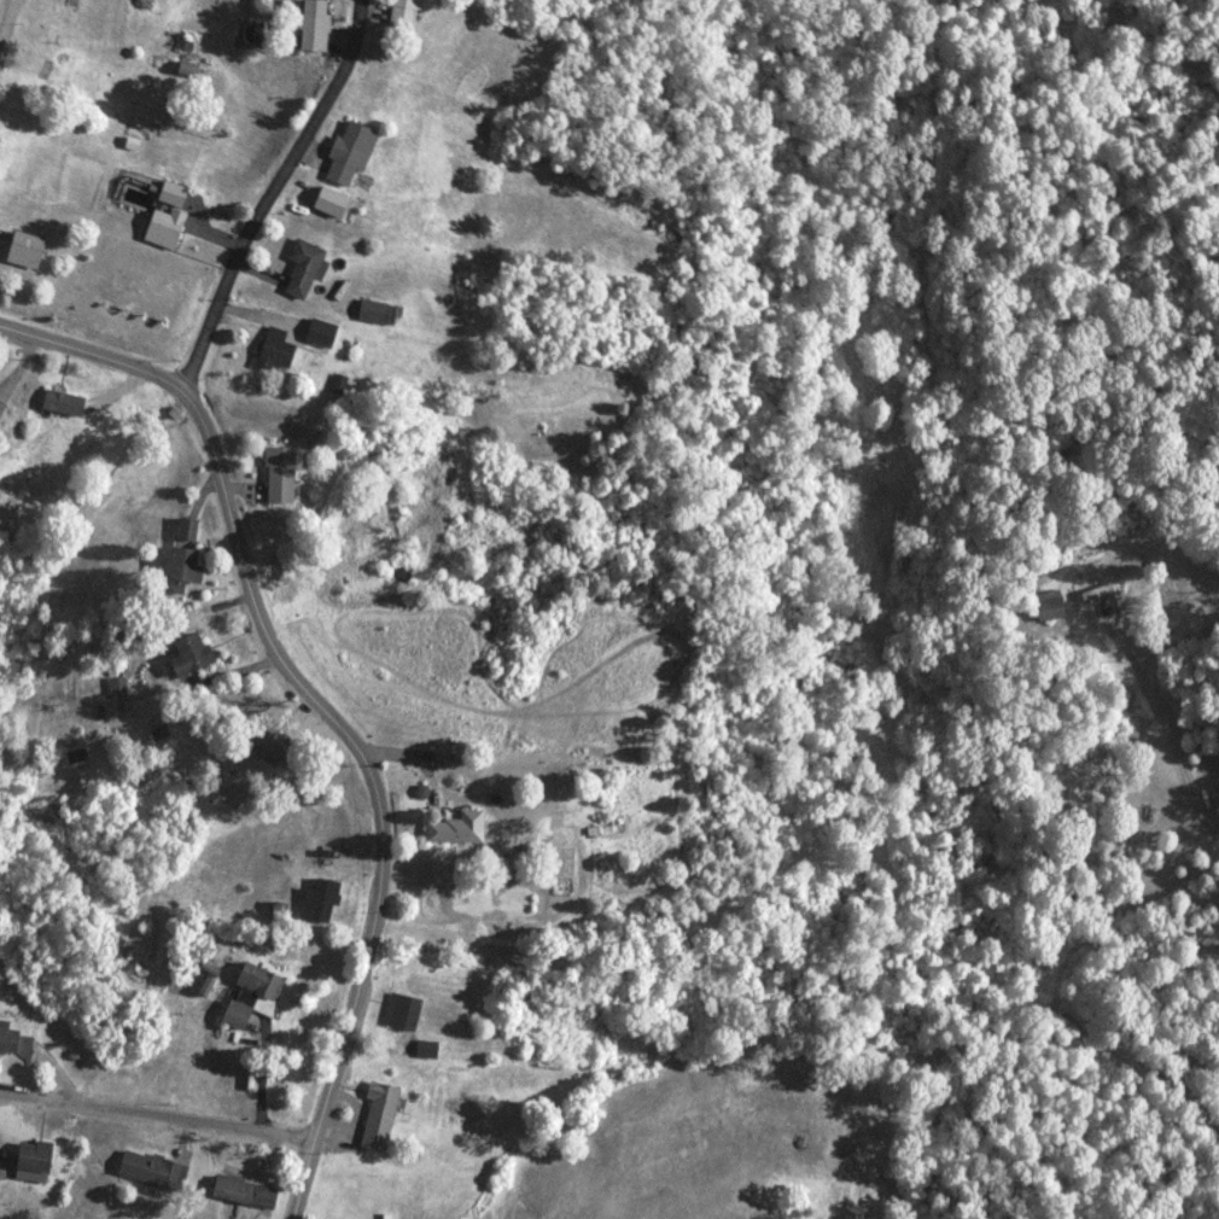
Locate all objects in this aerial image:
road: (5, 13)
building: (406, 14)
building: (315, 27)
building: (53, 71)
building: (351, 152)
building: (168, 215)
building: (28, 249)
building: (305, 267)
building: (379, 311)
building: (322, 332)
building: (276, 350)
building: (65, 402)
building: (281, 476)
building: (186, 565)
building: (192, 654)
road: (286, 672)
building: (118, 687)
road: (1166, 740)
building: (276, 743)
building: (1217, 810)
building: (459, 828)
building: (321, 902)
building: (253, 995)
building: (403, 1013)
building: (12, 1042)
road: (162, 1112)
building: (380, 1116)
building: (35, 1161)
building: (153, 1170)
road: (310, 1174)
building: (245, 1191)

